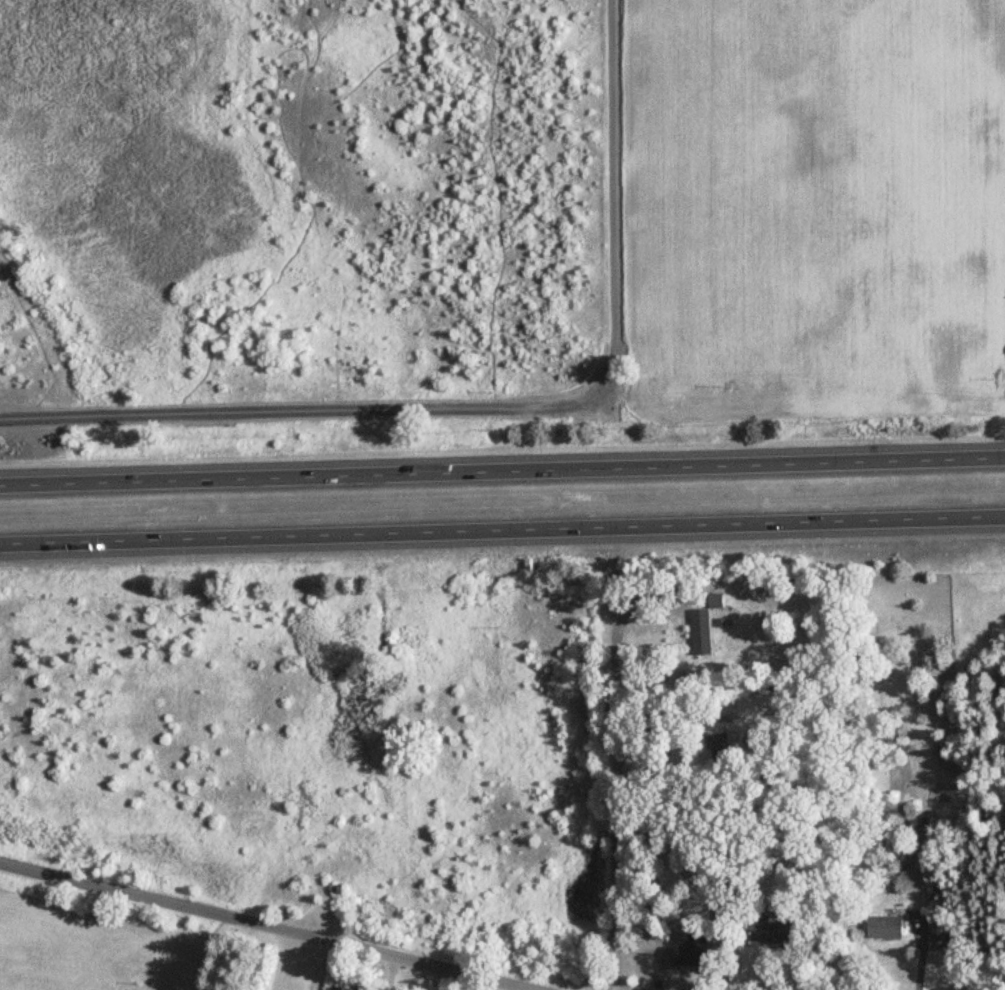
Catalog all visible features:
road: (615, 189)
crop: (813, 208)
road: (309, 413)
road: (502, 472)
road: (502, 530)
building: (700, 634)
building: (715, 743)
road: (613, 789)
building: (883, 925)
road: (260, 929)
building: (769, 930)
building: (938, 942)
crop: (91, 952)
building: (334, 989)

